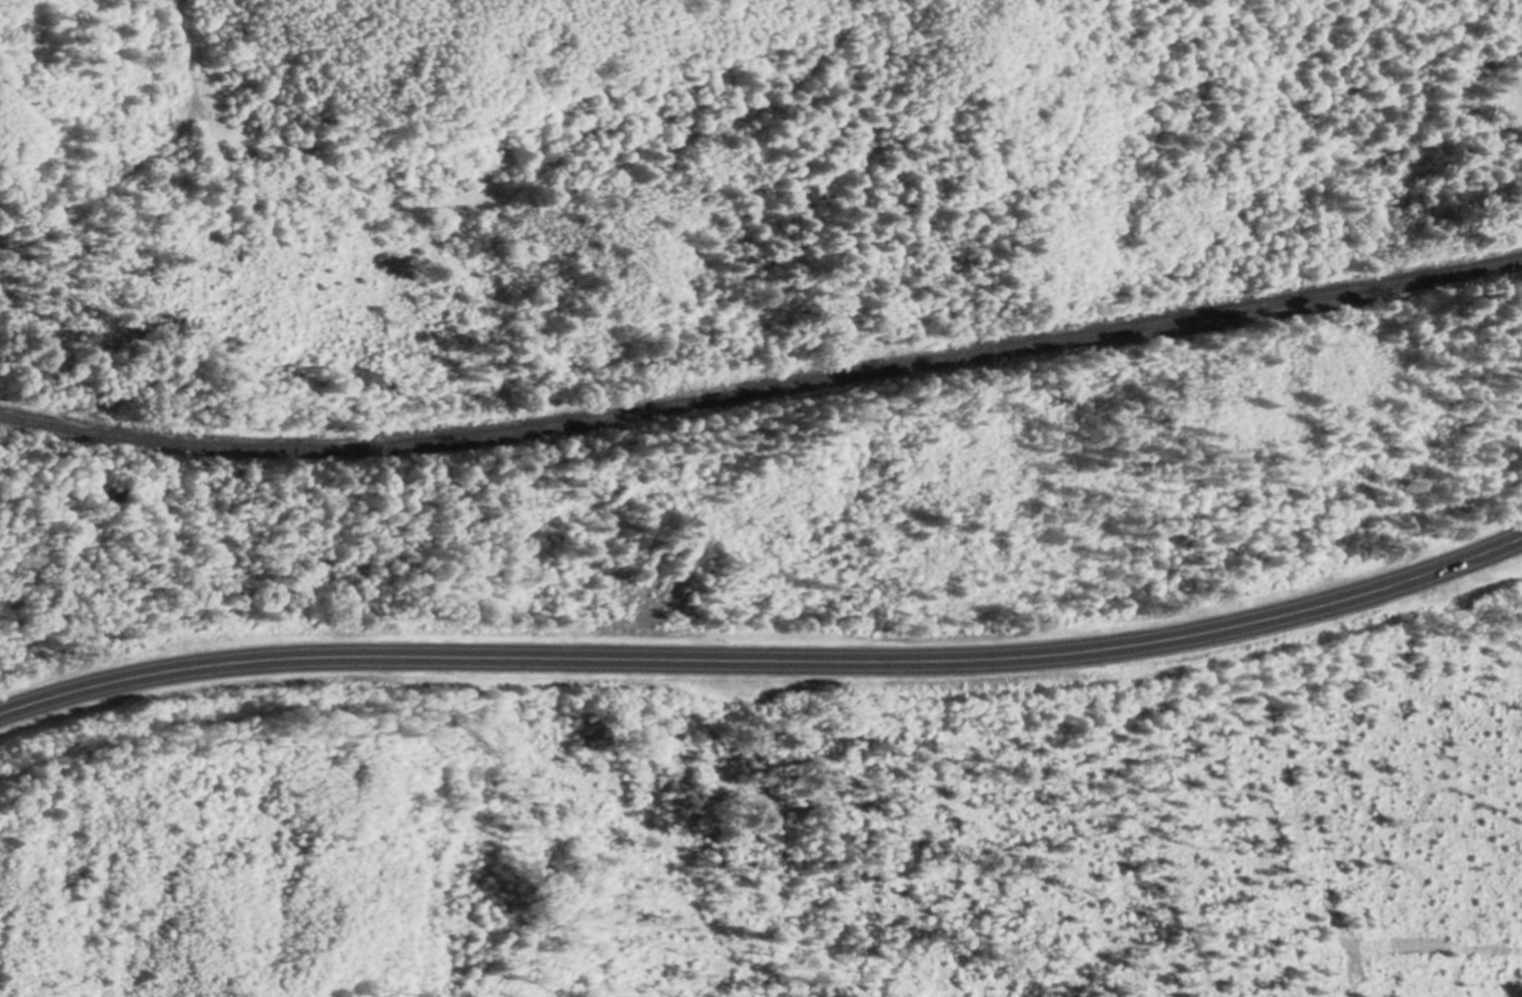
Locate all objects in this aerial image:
road: (187, 54)
road: (243, 135)
railway: (763, 389)
road: (766, 660)

